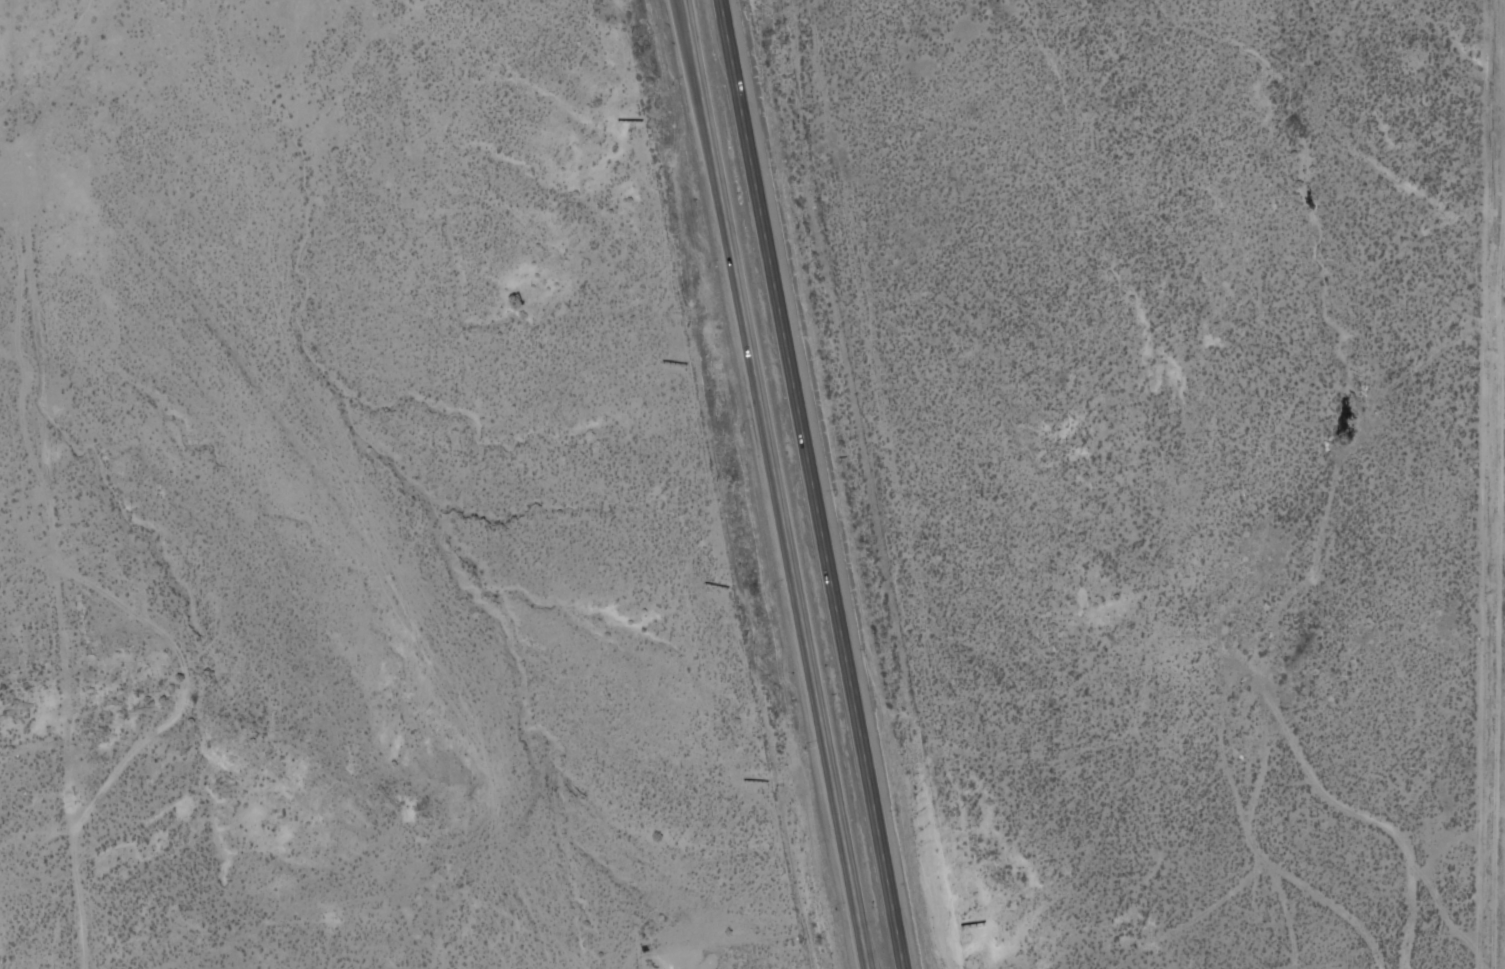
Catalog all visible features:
road: (774, 483)
road: (812, 484)

